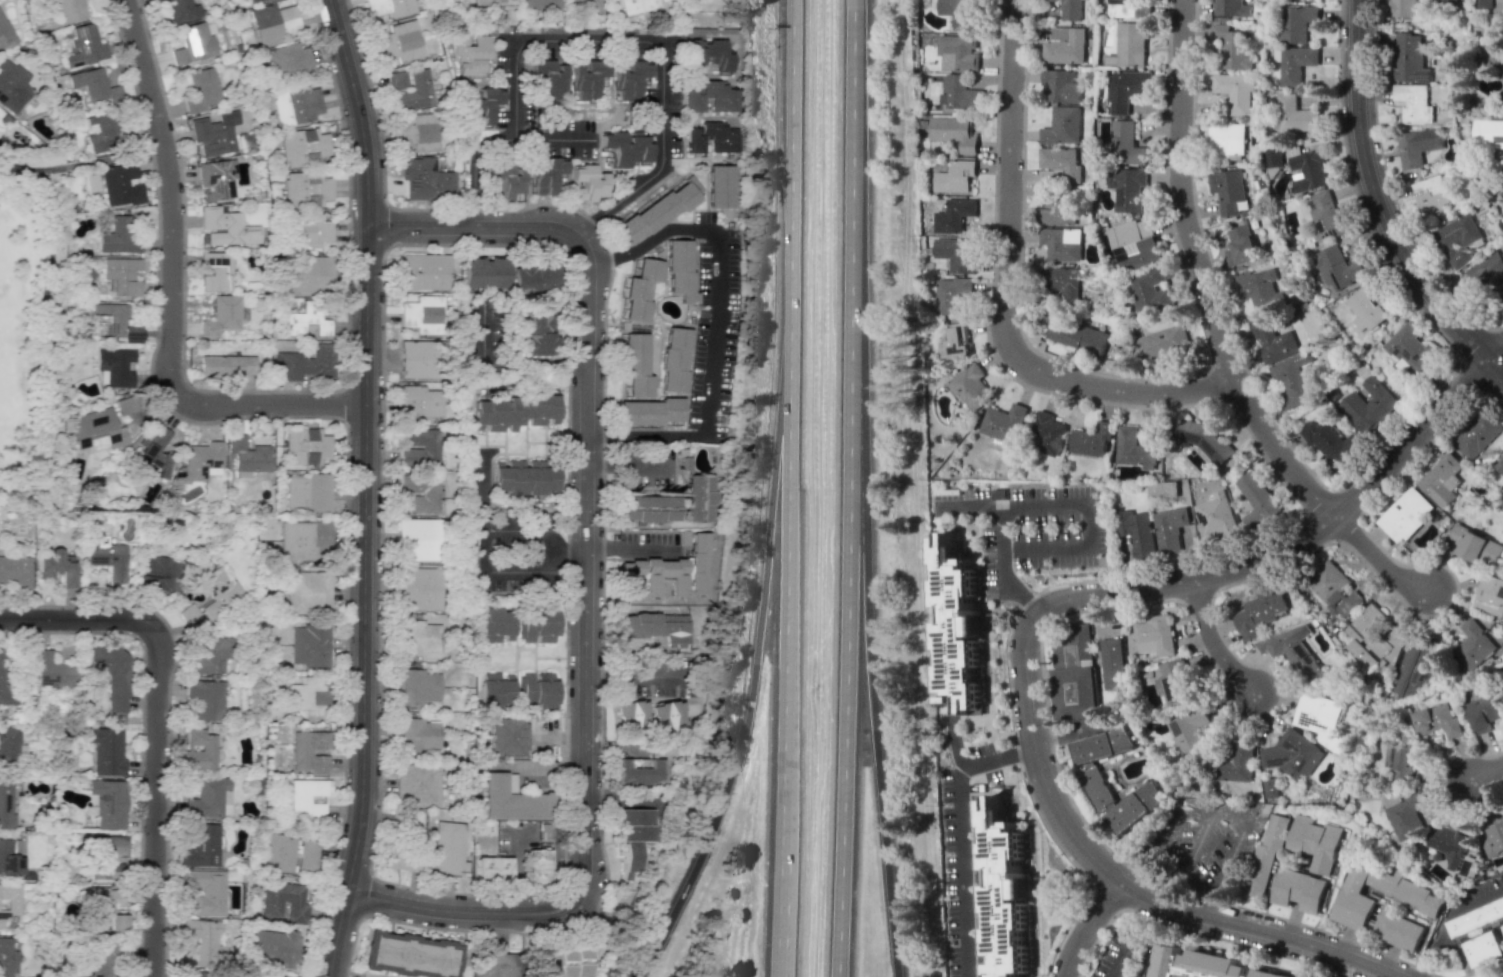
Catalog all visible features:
building: (251, 0)
building: (496, 2)
building: (1488, 4)
building: (540, 5)
building: (587, 5)
building: (637, 6)
building: (389, 7)
building: (1233, 8)
building: (1404, 8)
building: (1069, 9)
building: (1128, 9)
building: (69, 10)
building: (181, 10)
building: (959, 12)
building: (1297, 22)
building: (272, 23)
building: (5, 34)
road: (600, 41)
building: (400, 42)
building: (192, 44)
building: (85, 45)
building: (1064, 45)
building: (1129, 45)
building: (1232, 47)
building: (959, 50)
building: (708, 52)
building: (468, 57)
building: (1411, 58)
building: (1494, 61)
building: (286, 62)
building: (1294, 63)
street lamp: (162, 76)
building: (396, 81)
building: (542, 81)
building: (587, 82)
building: (92, 84)
building: (631, 84)
building: (12, 85)
building: (1058, 87)
building: (1126, 89)
building: (201, 91)
building: (415, 91)
building: (1235, 92)
building: (1501, 92)
building: (960, 93)
building: (702, 101)
building: (1414, 103)
building: (296, 104)
building: (481, 111)
building: (1294, 114)
street lamp: (339, 117)
building: (1062, 126)
building: (952, 130)
building: (102, 131)
building: (419, 133)
building: (1488, 133)
building: (211, 134)
road: (554, 139)
building: (1226, 141)
building: (704, 143)
building: (1126, 144)
building: (1419, 145)
building: (303, 147)
building: (625, 149)
road: (81, 165)
building: (1059, 165)
road: (790, 170)
building: (1309, 170)
building: (955, 176)
building: (216, 178)
building: (425, 179)
building: (543, 180)
building: (120, 184)
building: (500, 184)
building: (692, 184)
building: (582, 185)
building: (719, 186)
road: (852, 188)
building: (1127, 188)
building: (306, 189)
building: (1230, 191)
building: (1501, 193)
building: (1432, 194)
road: (1377, 205)
building: (1059, 209)
building: (656, 212)
building: (953, 214)
parking lot: (704, 216)
road: (671, 221)
building: (226, 227)
building: (305, 231)
building: (118, 236)
building: (1459, 239)
building: (1062, 243)
building: (1134, 243)
building: (1241, 245)
building: (956, 253)
road: (697, 268)
building: (1338, 268)
parking lot: (731, 269)
building: (215, 270)
building: (680, 270)
building: (420, 271)
building: (480, 273)
parking lot: (705, 273)
building: (122, 275)
building: (543, 275)
building: (1486, 275)
building: (309, 276)
building: (1064, 282)
road: (170, 288)
road: (619, 288)
building: (639, 288)
building: (1259, 288)
building: (1150, 290)
road: (1004, 293)
road: (657, 295)
building: (953, 296)
building: (1366, 307)
parking lot: (726, 312)
building: (221, 316)
building: (418, 316)
building: (306, 319)
road: (714, 319)
park: (34, 320)
building: (112, 323)
road: (1219, 329)
building: (533, 332)
road: (45, 336)
building: (1077, 336)
street lamp: (187, 339)
building: (1273, 341)
building: (955, 342)
building: (1162, 342)
building: (1411, 350)
road: (1498, 353)
road: (658, 357)
building: (673, 358)
building: (417, 360)
building: (306, 363)
road: (504, 363)
building: (636, 364)
building: (226, 365)
parking lot: (725, 366)
building: (114, 367)
road: (621, 369)
street lamp: (567, 371)
parking lot: (698, 374)
road: (655, 380)
building: (1292, 380)
road: (689, 381)
building: (970, 386)
road: (672, 394)
building: (417, 401)
building: (126, 405)
building: (1370, 405)
building: (518, 409)
building: (650, 412)
street lamp: (277, 419)
street lamp: (385, 422)
building: (1003, 422)
building: (96, 428)
building: (1047, 433)
parking lot: (717, 434)
building: (1478, 434)
building: (1202, 438)
building: (1092, 439)
building: (235, 442)
building: (1333, 443)
building: (304, 446)
building: (415, 449)
building: (1135, 449)
building: (153, 450)
road: (787, 453)
building: (253, 458)
building: (200, 462)
building: (1500, 464)
road: (630, 465)
building: (528, 480)
building: (1442, 480)
road: (364, 487)
building: (1163, 489)
building: (306, 493)
road: (484, 493)
building: (417, 494)
building: (697, 498)
building: (1258, 500)
road: (1083, 501)
building: (646, 506)
building: (1406, 515)
building: (1217, 518)
parking lot: (1032, 526)
building: (1170, 529)
building: (1138, 532)
building: (305, 540)
building: (419, 540)
road: (1290, 543)
building: (1476, 545)
road: (634, 550)
building: (106, 556)
road: (1002, 565)
building: (56, 566)
building: (16, 571)
road: (487, 571)
building: (673, 573)
building: (160, 576)
road: (585, 578)
building: (1335, 589)
building: (418, 591)
building: (307, 592)
building: (1490, 595)
building: (214, 596)
building: (1261, 611)
road: (76, 618)
building: (495, 625)
building: (538, 625)
building: (650, 627)
building: (959, 627)
building: (1156, 636)
building: (420, 639)
building: (1074, 641)
building: (311, 644)
road: (1212, 644)
building: (1474, 645)
building: (1296, 651)
building: (209, 656)
building: (1112, 660)
road: (753, 668)
street lamp: (566, 669)
building: (51, 671)
building: (1410, 671)
building: (111, 673)
road: (635, 675)
road: (846, 676)
road: (869, 676)
street lamp: (173, 677)
building: (4, 681)
building: (1175, 681)
building: (537, 689)
building: (415, 690)
building: (496, 691)
building: (1074, 692)
building: (307, 697)
building: (205, 699)
building: (1484, 711)
building: (665, 717)
building: (1320, 718)
building: (629, 719)
building: (1437, 720)
building: (1190, 731)
building: (417, 738)
building: (503, 738)
road: (955, 741)
building: (1098, 742)
building: (11, 746)
building: (105, 749)
building: (199, 751)
building: (309, 752)
building: (1293, 753)
building: (1400, 759)
building: (1237, 763)
road: (783, 772)
road: (1486, 773)
building: (634, 774)
building: (1093, 785)
building: (1270, 787)
building: (414, 788)
building: (206, 798)
building: (306, 799)
road: (155, 802)
building: (511, 802)
building: (109, 803)
building: (6, 805)
building: (1132, 806)
building: (1407, 814)
building: (632, 826)
road: (1157, 834)
road: (1237, 834)
road: (961, 835)
building: (1494, 839)
parking lot: (1197, 842)
building: (1451, 843)
building: (1316, 844)
building: (201, 847)
road: (1194, 847)
building: (448, 848)
building: (276, 851)
building: (1267, 853)
building: (107, 856)
building: (305, 856)
building: (9, 859)
building: (401, 859)
building: (625, 863)
building: (535, 868)
building: (490, 871)
road: (517, 873)
parking lot: (964, 879)
road: (1120, 881)
building: (206, 890)
building: (1301, 890)
road: (1174, 891)
building: (1006, 893)
building: (107, 896)
building: (9, 901)
building: (270, 901)
road: (1209, 902)
building: (1355, 906)
road: (1447, 916)
building: (1479, 919)
building: (117, 922)
road: (1087, 927)
street lamp: (140, 938)
building: (201, 940)
building: (274, 948)
building: (1486, 949)
building: (410, 955)
building: (99, 956)
road: (1124, 956)
building: (7, 957)
building: (1167, 959)
building: (495, 963)
building: (566, 963)
building: (1212, 965)
building: (194, 974)
building: (1270, 974)

